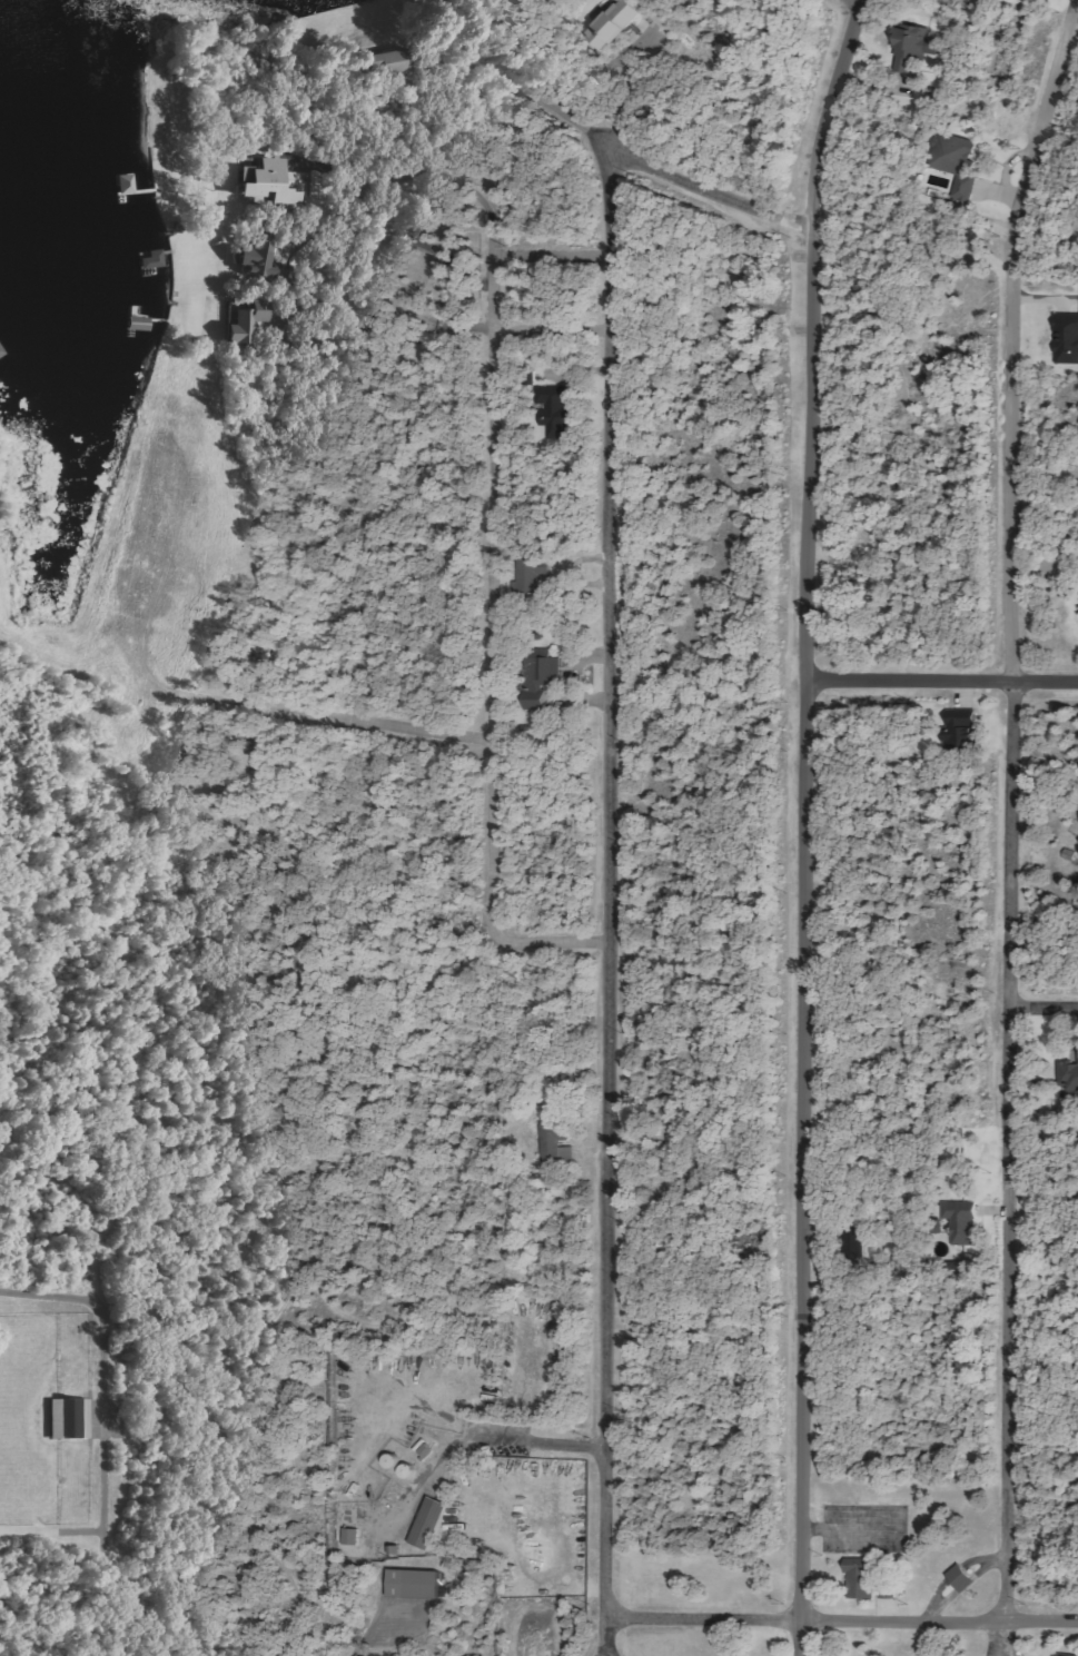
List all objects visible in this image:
building: (662, 21)
building: (616, 23)
building: (917, 47)
building: (392, 62)
building: (959, 161)
building: (271, 185)
building: (154, 259)
building: (260, 260)
building: (250, 321)
building: (1067, 338)
building: (558, 408)
building: (532, 576)
road: (493, 633)
building: (544, 680)
road: (940, 680)
road: (379, 721)
building: (962, 730)
road: (606, 801)
road: (1011, 805)
road: (803, 824)
road: (1044, 1007)
building: (1077, 1050)
building: (1068, 1074)
building: (557, 1140)
building: (962, 1220)
building: (70, 1418)
building: (431, 1523)
building: (352, 1536)
building: (962, 1577)
building: (862, 1580)
building: (415, 1584)
road: (840, 1619)

